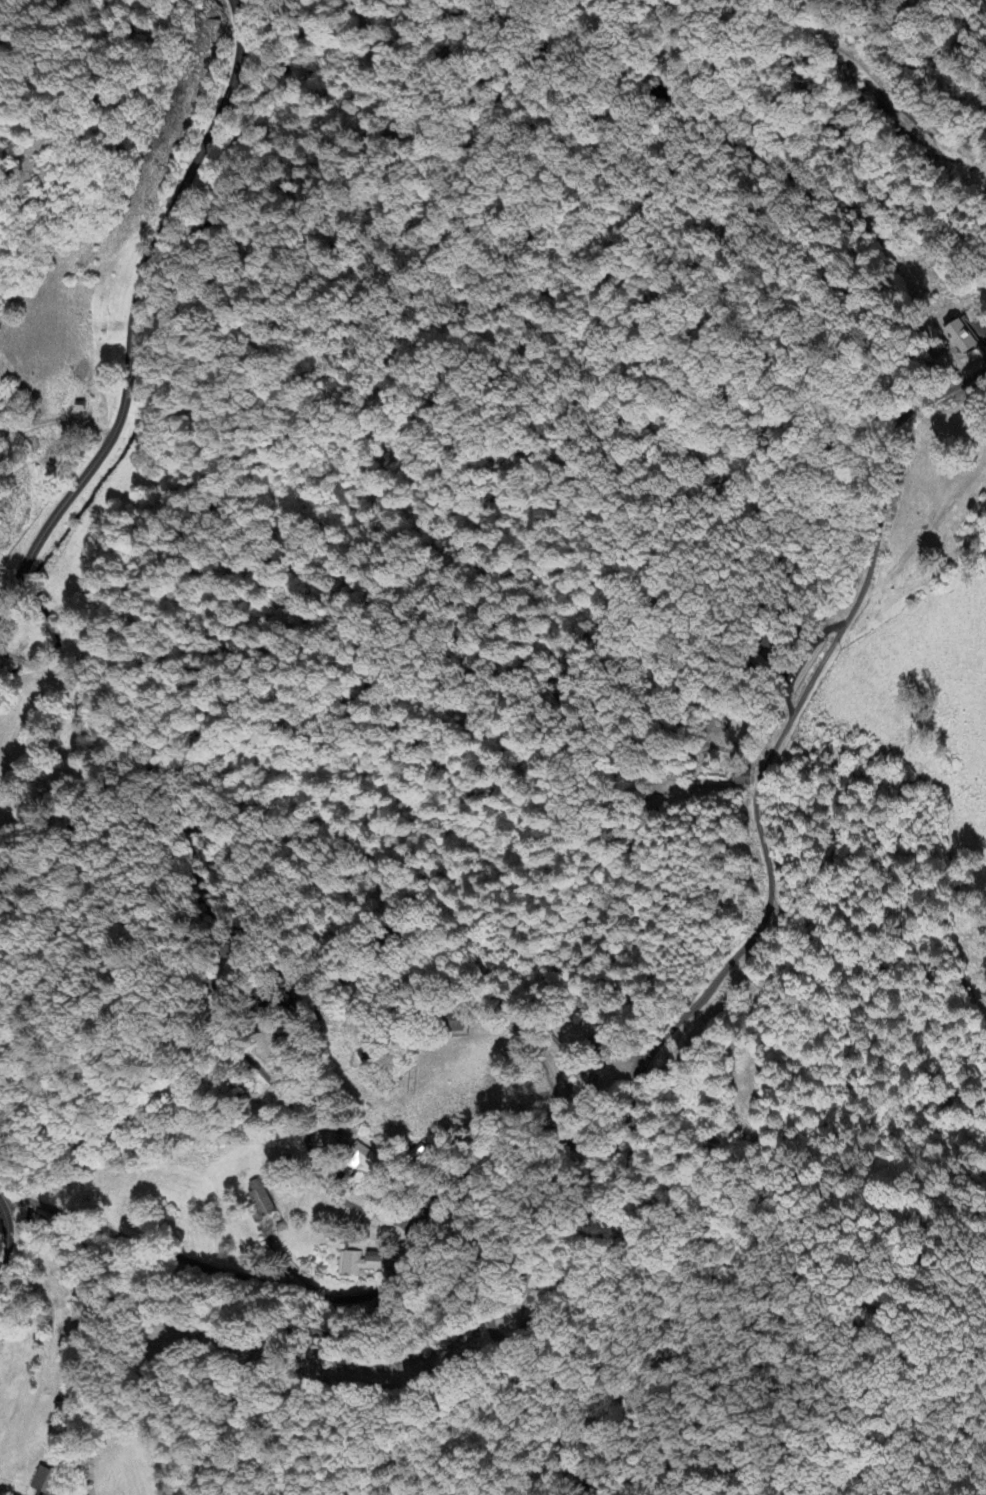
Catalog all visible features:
road: (131, 313)
building: (960, 335)
road: (283, 967)
building: (450, 1024)
building: (361, 1160)
building: (261, 1202)
road: (619, 1209)
road: (2, 1238)
building: (361, 1262)
road: (289, 1265)
road: (109, 1370)
building: (49, 1481)

